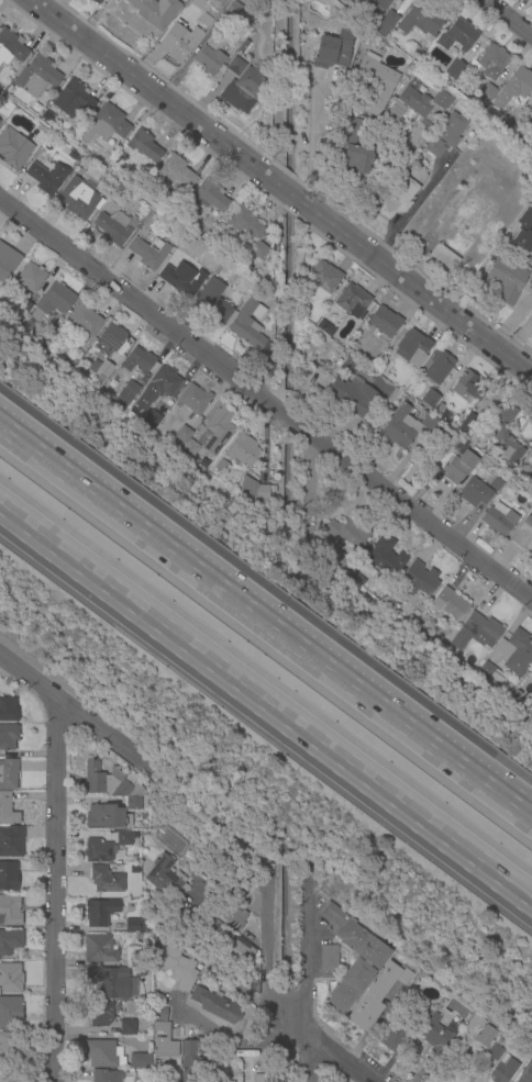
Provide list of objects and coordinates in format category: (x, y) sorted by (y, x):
building: (398, 0)
building: (400, 0)
building: (97, 1)
building: (197, 2)
building: (354, 2)
building: (381, 3)
building: (231, 9)
building: (155, 11)
building: (421, 18)
road: (507, 18)
building: (387, 23)
building: (343, 32)
building: (457, 36)
building: (179, 42)
building: (11, 47)
building: (411, 51)
building: (331, 54)
building: (209, 59)
building: (490, 63)
building: (235, 66)
building: (453, 67)
building: (36, 76)
building: (520, 81)
building: (375, 83)
building: (243, 89)
building: (486, 93)
building: (74, 99)
building: (425, 104)
building: (47, 116)
building: (531, 118)
building: (106, 124)
building: (41, 135)
building: (445, 135)
road: (318, 145)
building: (144, 146)
building: (13, 148)
building: (352, 148)
building: (176, 170)
building: (46, 176)
road: (284, 182)
building: (209, 197)
building: (78, 199)
building: (398, 199)
road: (415, 204)
building: (148, 220)
building: (115, 227)
building: (247, 228)
building: (524, 231)
building: (273, 243)
building: (147, 252)
building: (444, 258)
building: (175, 259)
building: (7, 263)
building: (324, 277)
building: (31, 278)
building: (507, 280)
building: (182, 281)
building: (213, 300)
building: (352, 300)
building: (53, 301)
building: (27, 306)
road: (512, 319)
building: (85, 321)
building: (385, 322)
building: (248, 324)
building: (112, 338)
building: (413, 347)
building: (137, 360)
building: (437, 366)
building: (101, 368)
building: (157, 387)
building: (467, 387)
building: (128, 391)
road: (267, 394)
building: (353, 395)
building: (430, 399)
building: (193, 400)
building: (437, 409)
building: (151, 419)
building: (430, 423)
building: (469, 425)
building: (400, 427)
building: (219, 430)
building: (184, 435)
building: (503, 435)
building: (190, 449)
building: (243, 450)
building: (531, 456)
building: (458, 460)
building: (219, 467)
building: (435, 477)
building: (496, 484)
building: (255, 490)
building: (476, 493)
building: (499, 520)
building: (344, 533)
building: (523, 535)
building: (386, 557)
building: (336, 559)
building: (418, 581)
building: (451, 604)
road: (265, 626)
building: (475, 632)
building: (516, 652)
building: (490, 676)
building: (531, 677)
building: (531, 681)
road: (266, 704)
building: (9, 710)
road: (75, 710)
building: (8, 736)
building: (8, 774)
building: (109, 782)
building: (135, 803)
building: (7, 810)
building: (107, 817)
building: (123, 837)
building: (11, 840)
building: (232, 847)
building: (97, 850)
building: (133, 869)
building: (8, 875)
building: (166, 879)
building: (106, 880)
building: (235, 885)
road: (57, 891)
building: (8, 911)
building: (99, 912)
building: (176, 912)
building: (233, 917)
building: (217, 924)
building: (134, 926)
building: (185, 937)
building: (10, 941)
building: (155, 942)
building: (195, 946)
building: (99, 949)
building: (241, 951)
building: (136, 958)
building: (353, 958)
building: (329, 961)
building: (177, 967)
building: (11, 978)
road: (311, 979)
building: (107, 982)
building: (377, 994)
road: (266, 997)
building: (214, 1005)
building: (10, 1012)
building: (99, 1013)
building: (409, 1013)
building: (158, 1014)
building: (425, 1014)
building: (129, 1027)
building: (481, 1030)
building: (394, 1034)
building: (437, 1036)
building: (164, 1041)
road: (241, 1046)
building: (10, 1047)
building: (103, 1053)
building: (190, 1059)
building: (140, 1061)
building: (500, 1063)
building: (217, 1072)
building: (525, 1074)
building: (111, 1077)
building: (257, 1078)

